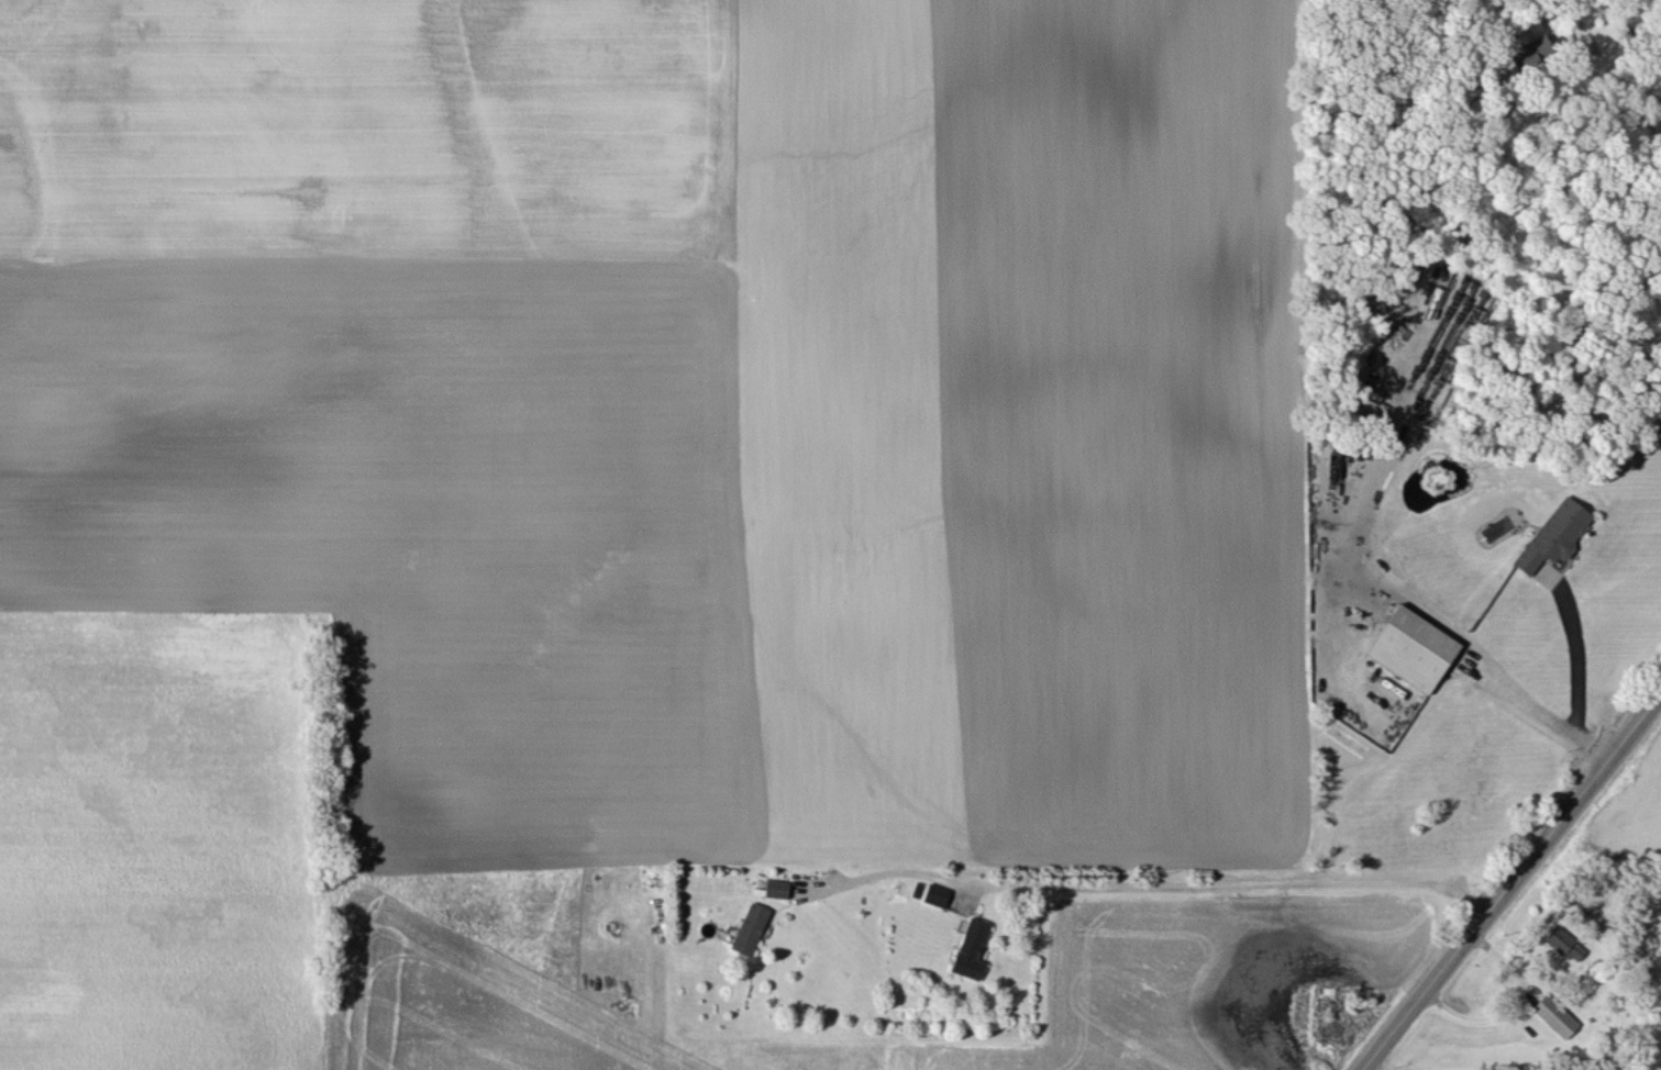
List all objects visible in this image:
building: (1530, 55)
building: (1553, 535)
building: (1411, 648)
road: (1472, 654)
road: (1575, 664)
road: (1167, 876)
road: (1508, 878)
building: (775, 888)
building: (934, 894)
building: (750, 928)
building: (1564, 944)
building: (970, 948)
road: (1509, 1005)
building: (1553, 1016)

